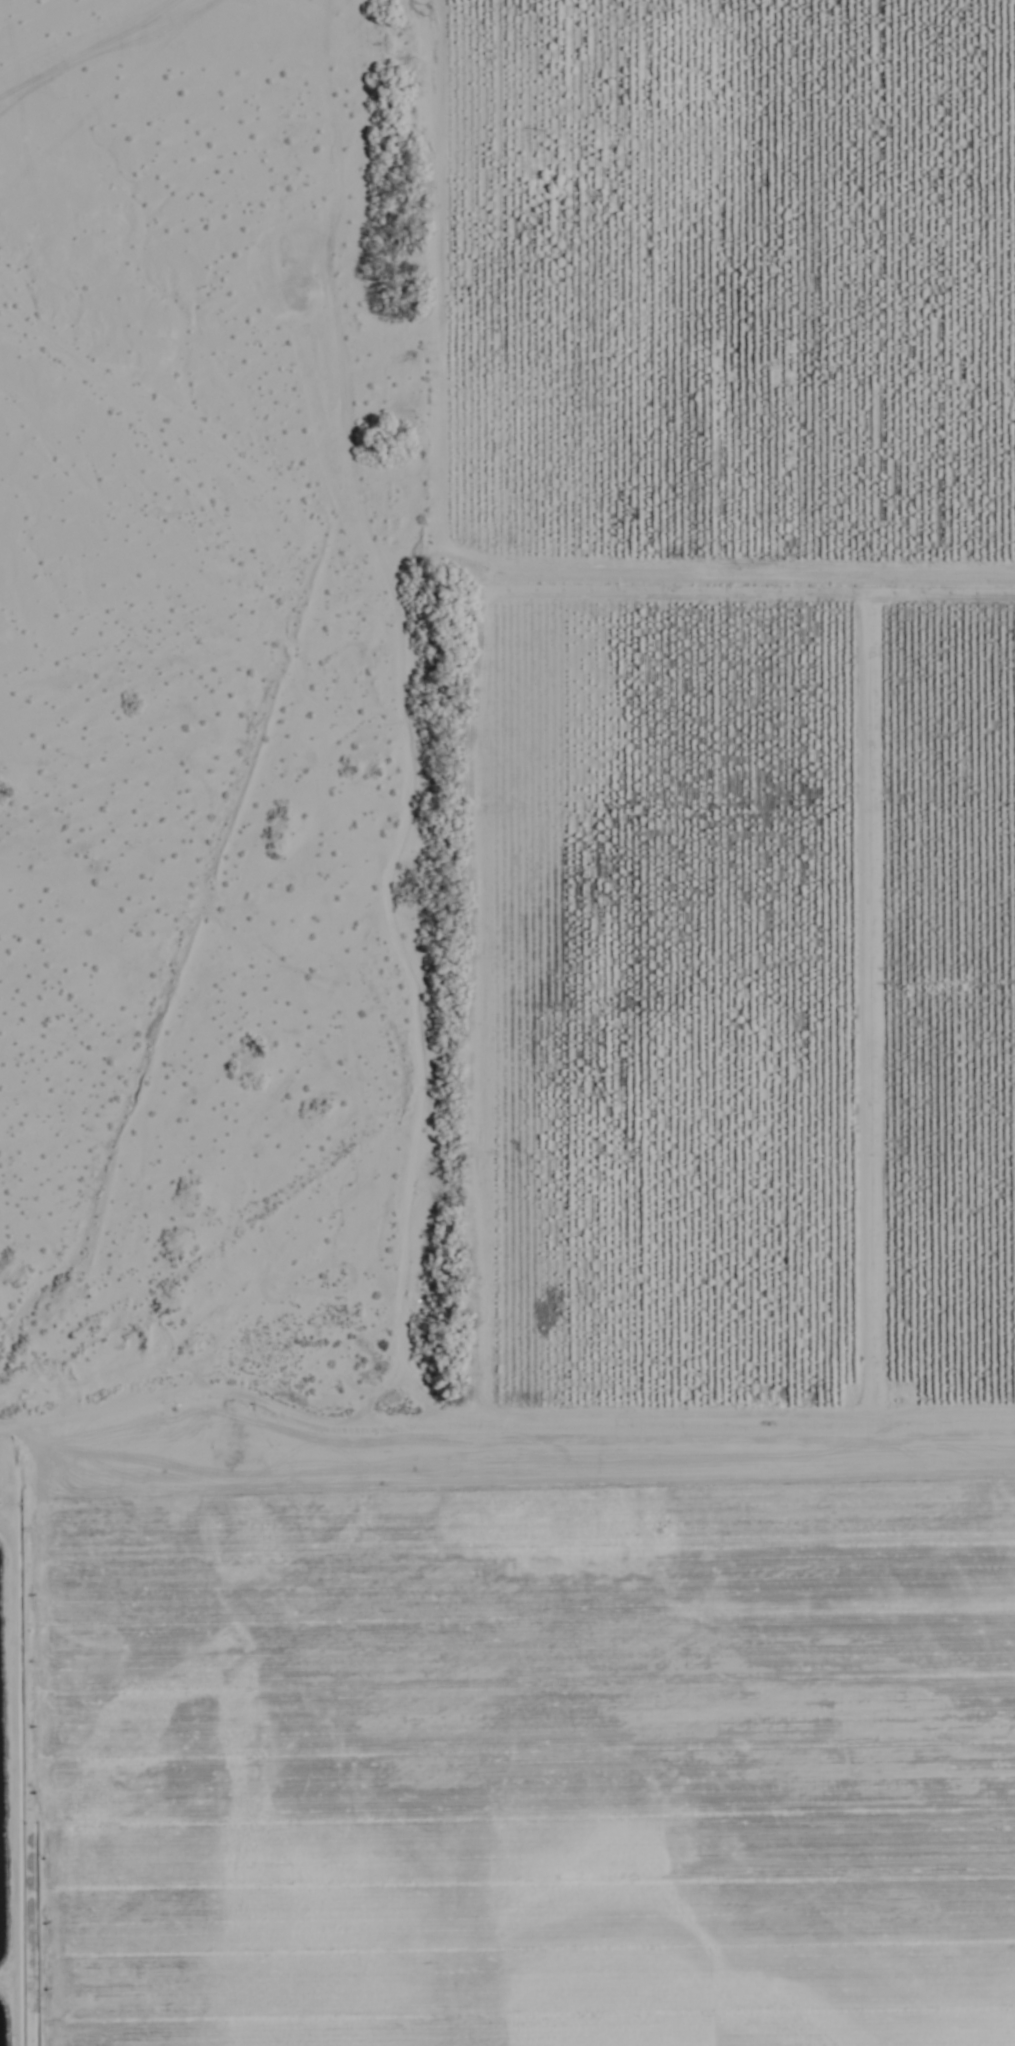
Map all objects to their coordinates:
crop: (630, 1149)

